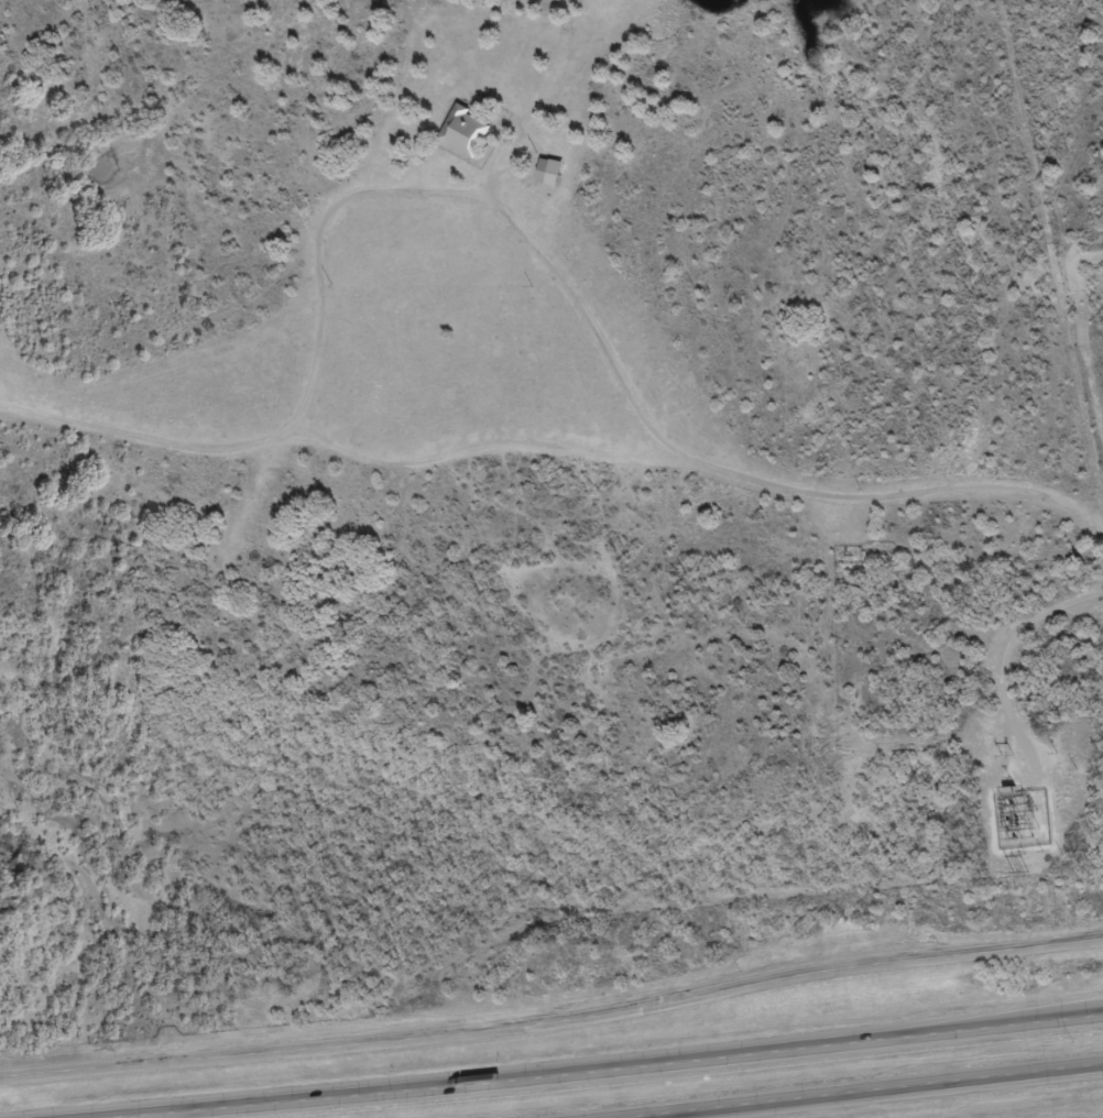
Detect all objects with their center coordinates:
building: (459, 140)
building: (544, 180)
road: (459, 200)
road: (555, 459)
power substation: (1023, 819)
power tower: (1023, 872)
road: (986, 951)
road: (692, 1000)
road: (990, 1020)
road: (256, 1054)
road: (593, 1068)
road: (849, 1090)

